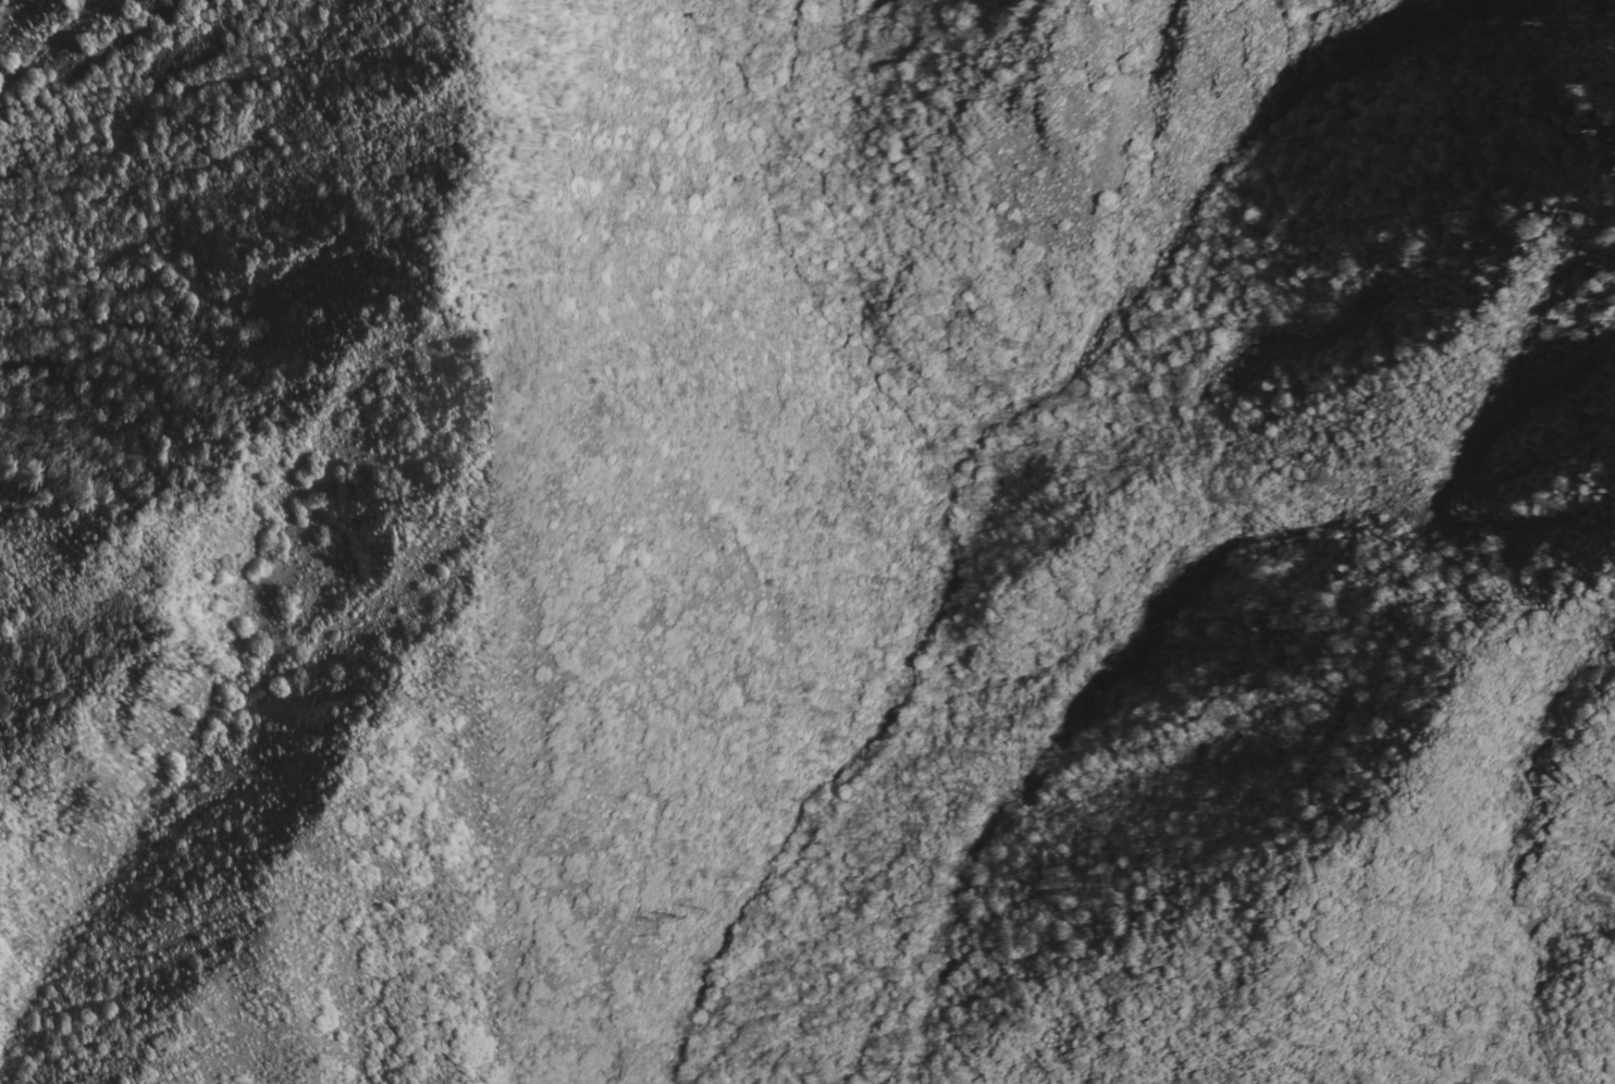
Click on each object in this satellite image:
road: (1504, 323)
road: (1527, 791)

